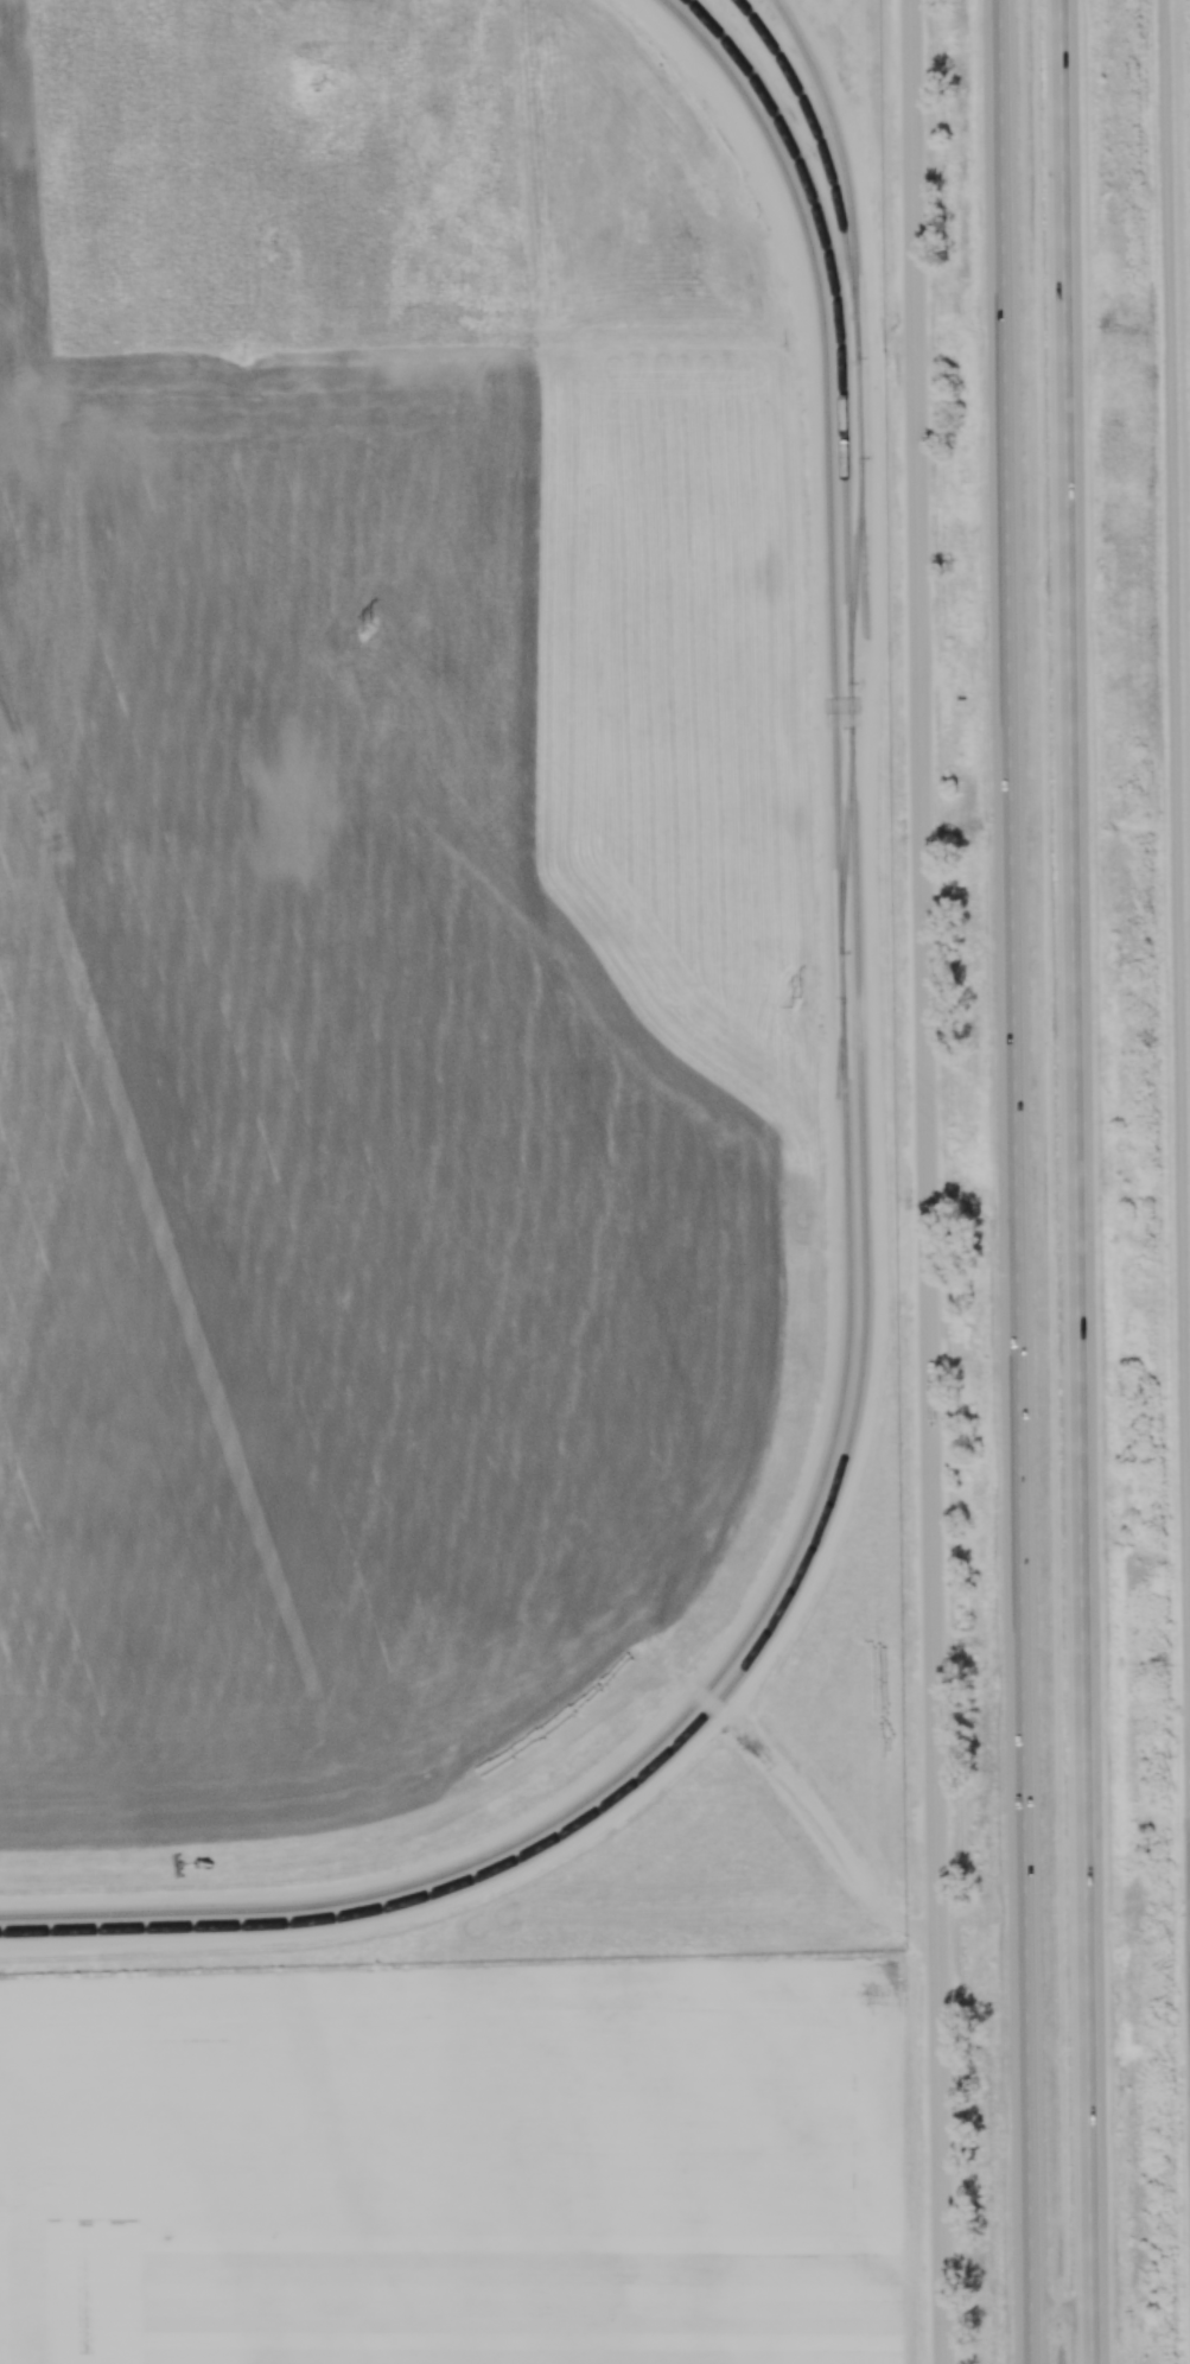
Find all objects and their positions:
railway: (825, 155)
railway: (857, 311)
road: (528, 337)
railway: (854, 578)
road: (1179, 621)
power tower: (370, 625)
railway: (846, 849)
power tower: (801, 1003)
road: (928, 1181)
road: (1017, 1181)
road: (1080, 1182)
railway: (848, 1226)
railway: (864, 1240)

